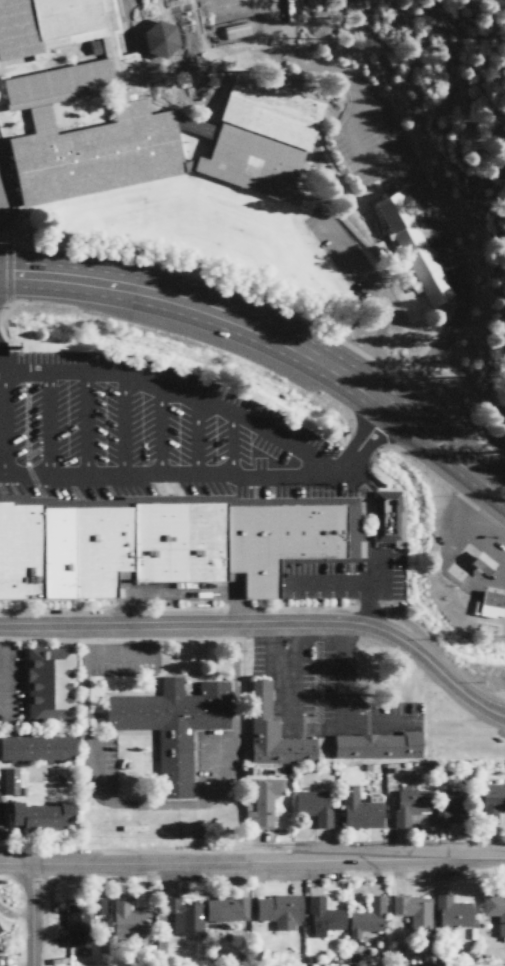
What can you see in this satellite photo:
building: (51, 24)
building: (161, 38)
building: (74, 80)
building: (260, 141)
building: (95, 154)
building: (412, 244)
road: (272, 336)
road: (181, 388)
road: (4, 420)
road: (49, 425)
road: (83, 426)
road: (125, 428)
road: (158, 430)
road: (198, 434)
parking lot: (151, 438)
road: (235, 443)
road: (213, 477)
building: (386, 516)
building: (190, 540)
road: (367, 545)
building: (20, 546)
road: (327, 586)
road: (197, 591)
building: (492, 605)
road: (266, 624)
road: (3, 671)
building: (50, 683)
building: (172, 725)
building: (273, 731)
building: (379, 746)
building: (37, 748)
building: (10, 782)
building: (263, 802)
building: (492, 802)
building: (450, 803)
building: (410, 805)
building: (314, 806)
building: (361, 810)
building: (42, 816)
road: (252, 865)
building: (99, 906)
building: (227, 909)
building: (495, 910)
building: (280, 911)
building: (413, 911)
building: (452, 912)
building: (184, 916)
road: (31, 917)
building: (324, 917)
building: (367, 918)
building: (128, 919)
building: (78, 926)
building: (0, 933)

